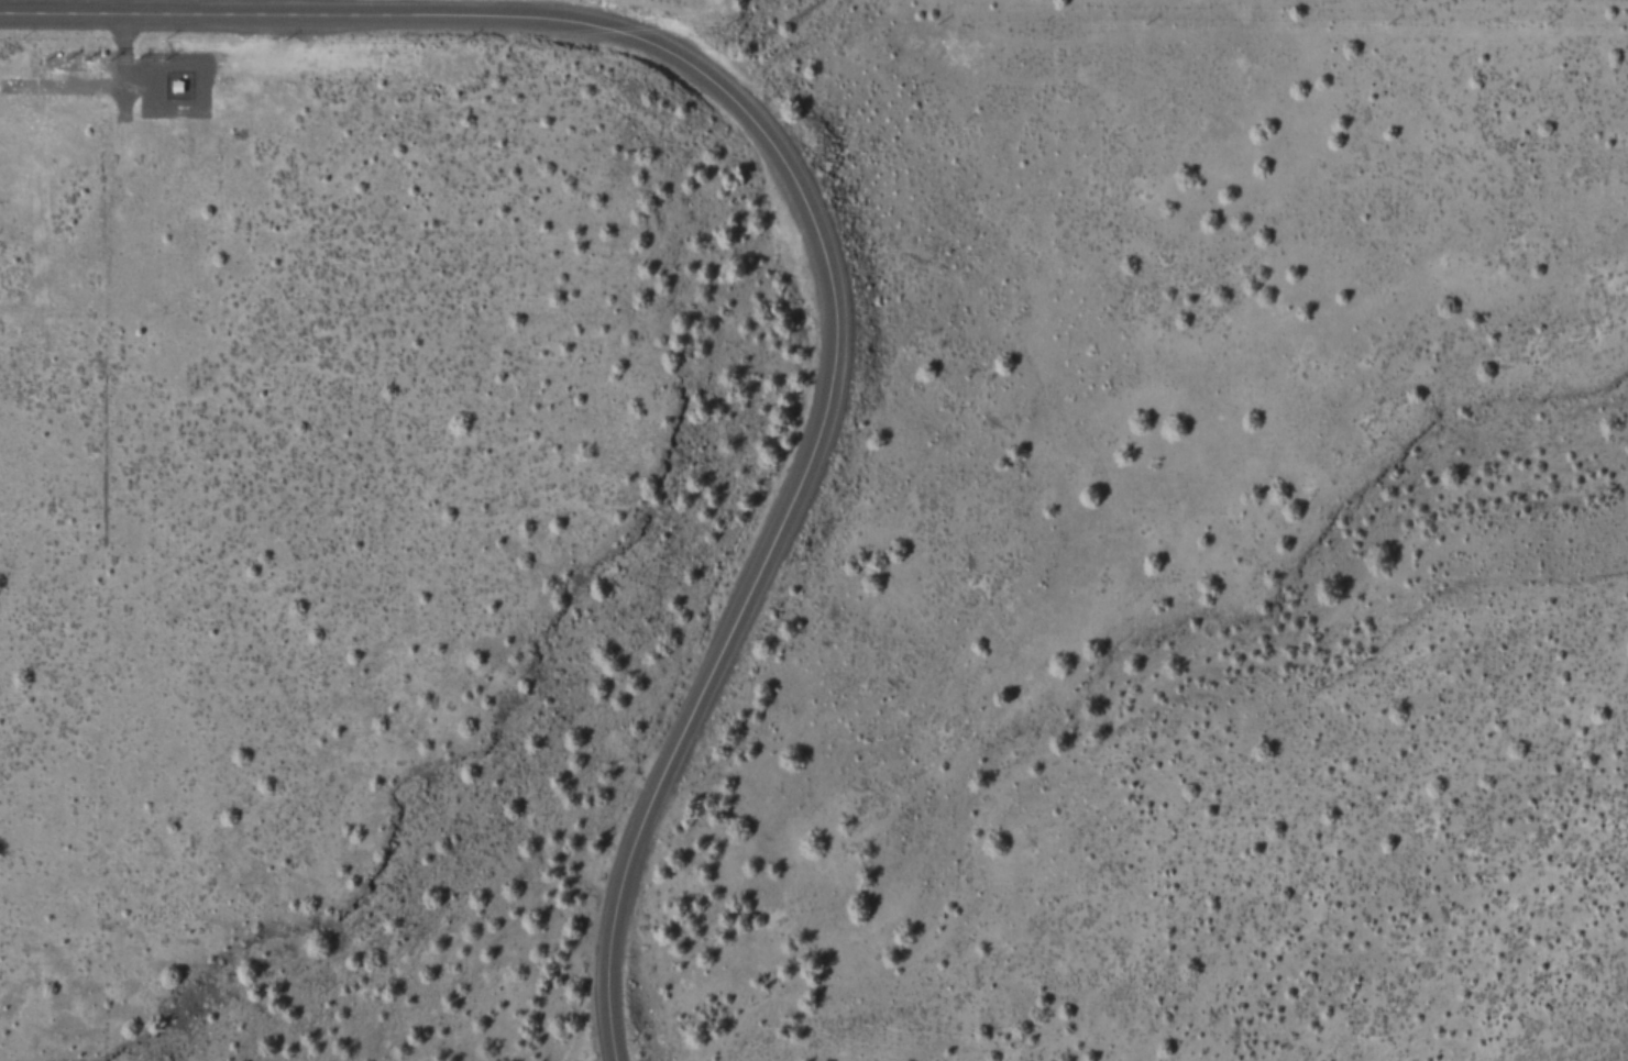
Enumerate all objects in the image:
road: (807, 215)

